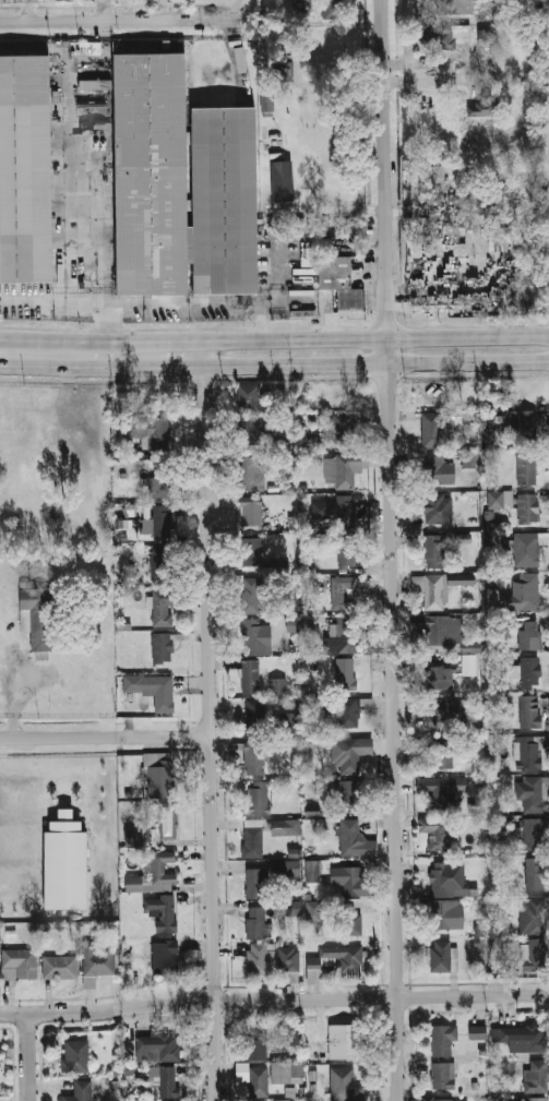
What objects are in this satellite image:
building: (302, 0)
building: (545, 3)
building: (456, 7)
building: (333, 10)
road: (118, 20)
building: (486, 37)
building: (547, 37)
building: (435, 38)
building: (286, 70)
road: (428, 80)
building: (94, 84)
building: (265, 101)
building: (480, 109)
building: (277, 139)
building: (25, 169)
building: (150, 176)
building: (282, 180)
building: (420, 189)
building: (225, 200)
road: (103, 241)
building: (548, 259)
building: (341, 282)
road: (277, 300)
road: (182, 302)
road: (261, 320)
road: (372, 336)
road: (5, 348)
road: (105, 354)
road: (5, 355)
road: (373, 362)
building: (249, 396)
building: (143, 427)
building: (523, 427)
building: (253, 428)
building: (341, 428)
building: (431, 430)
building: (468, 459)
building: (349, 469)
building: (439, 469)
building: (527, 469)
building: (251, 475)
building: (162, 482)
building: (500, 499)
building: (438, 507)
building: (528, 507)
building: (250, 513)
building: (345, 514)
building: (488, 518)
building: (157, 522)
building: (126, 523)
building: (251, 546)
building: (524, 549)
road: (389, 550)
building: (346, 551)
building: (434, 551)
building: (159, 563)
building: (460, 579)
building: (342, 589)
building: (431, 589)
building: (523, 590)
building: (250, 595)
building: (163, 608)
building: (36, 615)
building: (311, 624)
building: (444, 630)
building: (253, 635)
building: (529, 635)
building: (344, 636)
building: (162, 647)
building: (469, 647)
building: (470, 665)
building: (529, 671)
building: (346, 674)
building: (251, 677)
building: (440, 678)
building: (133, 682)
building: (277, 685)
building: (165, 694)
building: (288, 704)
building: (351, 710)
building: (449, 711)
building: (529, 711)
building: (254, 717)
road: (211, 727)
road: (106, 737)
building: (528, 754)
building: (349, 755)
building: (442, 757)
building: (254, 759)
building: (157, 774)
building: (437, 791)
building: (344, 792)
building: (529, 792)
building: (258, 798)
building: (311, 810)
building: (168, 823)
building: (287, 827)
building: (440, 833)
building: (533, 834)
building: (140, 837)
building: (351, 838)
building: (252, 842)
building: (286, 867)
building: (64, 871)
building: (312, 871)
building: (535, 875)
building: (154, 876)
building: (447, 877)
building: (351, 882)
building: (258, 884)
building: (295, 909)
building: (312, 910)
building: (162, 912)
building: (445, 914)
building: (533, 915)
building: (258, 922)
building: (349, 924)
building: (510, 949)
building: (534, 955)
building: (440, 957)
building: (164, 958)
building: (258, 959)
building: (98, 962)
building: (334, 962)
building: (20, 964)
building: (61, 967)
building: (291, 967)
road: (274, 1000)
building: (478, 1032)
building: (294, 1037)
building: (520, 1038)
building: (443, 1040)
building: (345, 1041)
building: (258, 1043)
building: (157, 1048)
road: (29, 1056)
building: (76, 1056)
building: (288, 1073)
building: (444, 1076)
building: (536, 1077)
building: (164, 1080)
building: (259, 1081)
building: (344, 1085)
building: (80, 1091)
building: (289, 1100)
building: (443, 1100)
building: (530, 1100)

